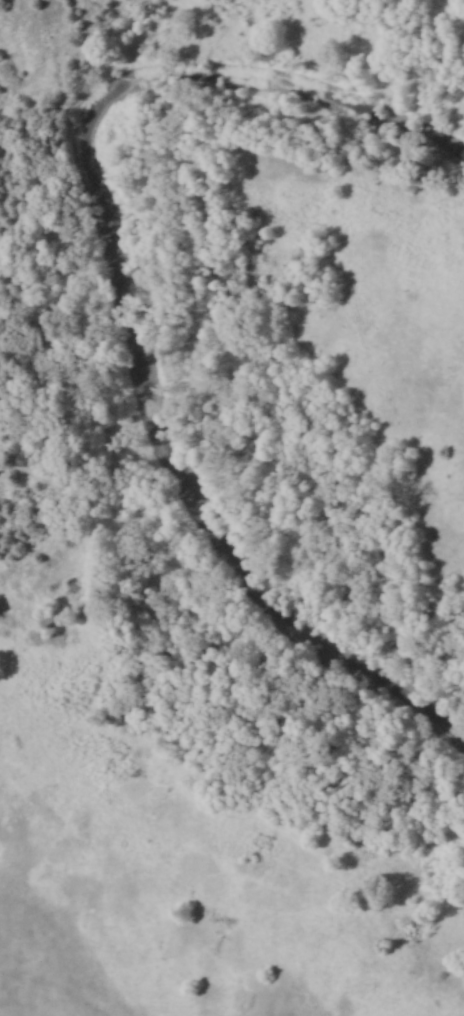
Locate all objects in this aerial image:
park: (232, 508)

